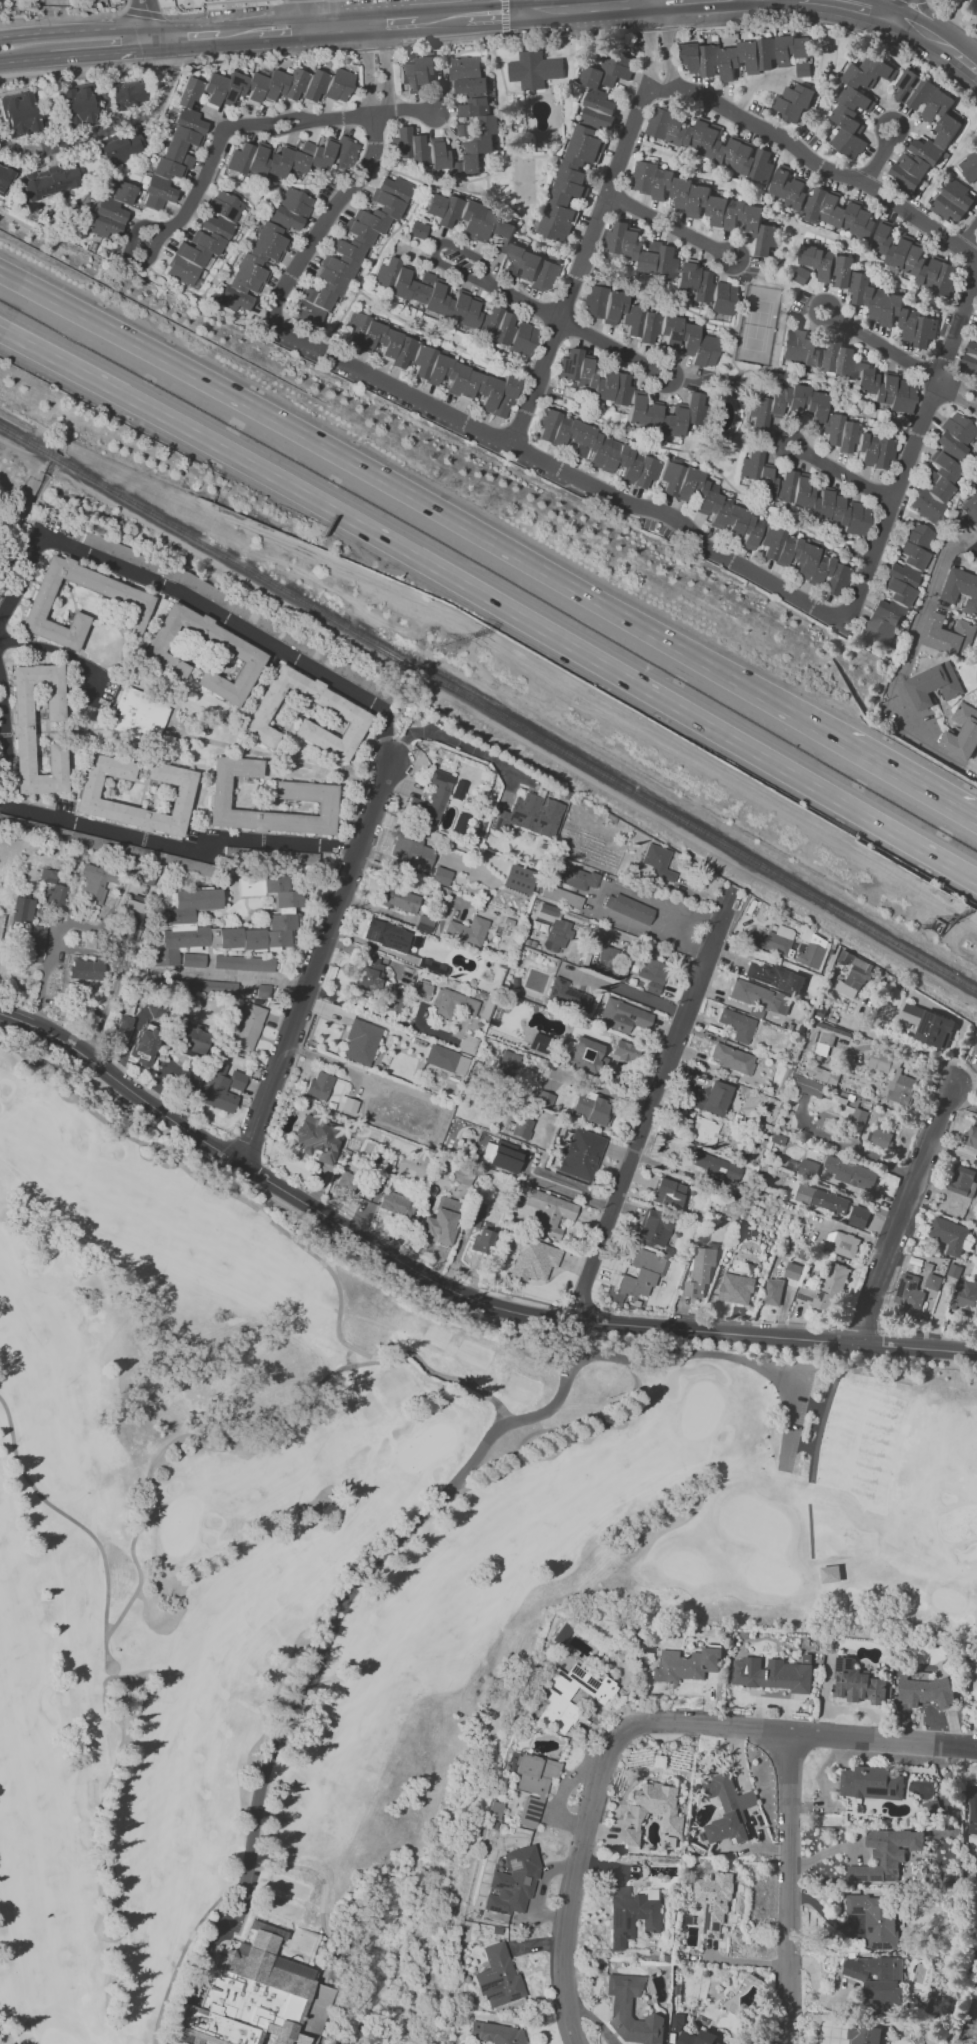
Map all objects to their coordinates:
road: (652, 0)
road: (659, 0)
road: (235, 1)
park: (329, 1)
road: (518, 6)
road: (585, 6)
road: (872, 6)
road: (900, 7)
road: (145, 13)
road: (493, 13)
road: (192, 14)
road: (306, 14)
road: (953, 16)
road: (504, 17)
road: (63, 18)
road: (444, 18)
road: (928, 18)
road: (150, 19)
road: (396, 23)
road: (917, 24)
road: (837, 26)
road: (341, 27)
road: (656, 28)
road: (78, 30)
road: (283, 31)
road: (239, 34)
road: (513, 35)
road: (187, 37)
road: (958, 48)
road: (374, 50)
road: (102, 53)
building: (744, 55)
road: (24, 60)
road: (177, 60)
building: (534, 69)
building: (802, 69)
building: (417, 73)
building: (468, 75)
road: (756, 83)
building: (127, 94)
building: (794, 102)
building: (857, 102)
building: (75, 105)
building: (19, 114)
road: (116, 124)
road: (251, 125)
building: (948, 127)
building: (184, 133)
building: (475, 135)
building: (708, 142)
building: (583, 143)
building: (409, 148)
building: (119, 149)
building: (437, 154)
road: (882, 157)
building: (289, 158)
road: (820, 166)
building: (969, 166)
building: (4, 178)
building: (49, 181)
building: (953, 201)
building: (704, 203)
building: (821, 204)
building: (290, 208)
building: (110, 211)
road: (596, 223)
road: (669, 225)
building: (417, 229)
road: (966, 233)
building: (204, 238)
building: (495, 238)
building: (351, 249)
building: (915, 261)
building: (814, 264)
building: (252, 268)
building: (669, 268)
building: (844, 271)
road: (466, 275)
building: (454, 306)
building: (892, 311)
building: (649, 324)
road: (883, 348)
road: (614, 349)
building: (970, 358)
building: (431, 364)
building: (848, 369)
road: (971, 384)
road: (958, 393)
building: (629, 398)
building: (820, 422)
building: (954, 434)
railway: (26, 440)
building: (596, 448)
road: (24, 450)
railway: (56, 458)
building: (757, 474)
road: (842, 474)
road: (576, 479)
building: (934, 487)
building: (820, 503)
road: (426, 504)
building: (710, 504)
building: (970, 508)
building: (803, 560)
building: (898, 586)
building: (959, 589)
building: (132, 598)
road: (195, 599)
road: (491, 602)
building: (947, 634)
power tower: (447, 643)
road: (53, 649)
building: (241, 652)
road: (909, 652)
building: (934, 685)
building: (140, 714)
building: (353, 714)
railway: (518, 724)
building: (23, 731)
building: (962, 732)
road: (516, 734)
road: (451, 740)
road: (3, 743)
road: (912, 779)
building: (305, 791)
building: (88, 792)
building: (432, 798)
building: (528, 815)
road: (177, 848)
building: (411, 851)
building: (294, 857)
building: (658, 863)
building: (48, 875)
building: (440, 876)
building: (576, 876)
building: (518, 878)
road: (409, 879)
building: (95, 882)
building: (54, 896)
building: (560, 896)
road: (598, 897)
building: (397, 899)
building: (628, 908)
building: (547, 912)
building: (178, 919)
building: (29, 928)
building: (467, 930)
power tower: (938, 930)
building: (387, 935)
building: (557, 935)
building: (778, 940)
road: (650, 951)
building: (813, 952)
building: (608, 957)
building: (193, 960)
road: (316, 961)
building: (243, 963)
building: (86, 969)
road: (45, 971)
building: (853, 973)
building: (371, 974)
building: (652, 974)
road: (237, 976)
building: (774, 976)
building: (212, 986)
building: (421, 990)
building: (262, 991)
road: (629, 992)
building: (566, 998)
building: (452, 1004)
road: (380, 1013)
building: (622, 1016)
building: (737, 1025)
building: (929, 1025)
building: (123, 1027)
building: (247, 1027)
building: (828, 1037)
building: (190, 1041)
building: (360, 1042)
building: (145, 1044)
building: (467, 1044)
building: (539, 1044)
building: (975, 1049)
building: (624, 1051)
building: (585, 1055)
building: (731, 1058)
building: (446, 1059)
building: (505, 1066)
building: (820, 1073)
building: (893, 1077)
road: (580, 1084)
building: (318, 1086)
building: (807, 1086)
building: (222, 1087)
building: (710, 1097)
building: (543, 1099)
road: (962, 1100)
road: (653, 1106)
building: (590, 1108)
building: (859, 1115)
building: (520, 1126)
building: (704, 1131)
building: (879, 1137)
building: (971, 1137)
building: (316, 1139)
building: (581, 1154)
building: (501, 1156)
building: (714, 1166)
building: (808, 1168)
building: (851, 1173)
building: (346, 1181)
building: (962, 1181)
building: (667, 1193)
building: (822, 1198)
building: (395, 1203)
road: (905, 1210)
building: (546, 1211)
building: (474, 1214)
building: (858, 1216)
building: (440, 1221)
building: (653, 1228)
building: (949, 1235)
building: (482, 1240)
building: (841, 1243)
building: (529, 1257)
building: (700, 1271)
building: (641, 1272)
building: (792, 1274)
building: (933, 1281)
building: (736, 1288)
building: (825, 1289)
building: (773, 1291)
road: (449, 1292)
building: (908, 1293)
building: (965, 1296)
road: (452, 1301)
building: (829, 1573)
park: (346, 1583)
building: (560, 1633)
road: (314, 1647)
building: (686, 1664)
building: (773, 1673)
building: (975, 1677)
building: (857, 1683)
building: (924, 1691)
building: (557, 1700)
road: (883, 1738)
road: (734, 1760)
building: (871, 1783)
building: (531, 1787)
road: (592, 1800)
road: (747, 1800)
building: (931, 1808)
building: (728, 1809)
building: (494, 1811)
building: (654, 1811)
building: (972, 1811)
road: (756, 1825)
road: (774, 1852)
building: (886, 1854)
building: (512, 1882)
road: (789, 1888)
building: (714, 1901)
building: (631, 1915)
building: (873, 1918)
building: (266, 1928)
building: (498, 1977)
building: (254, 1998)
building: (631, 2011)
building: (677, 2022)
building: (496, 2033)
building: (864, 2034)
building: (697, 2037)

